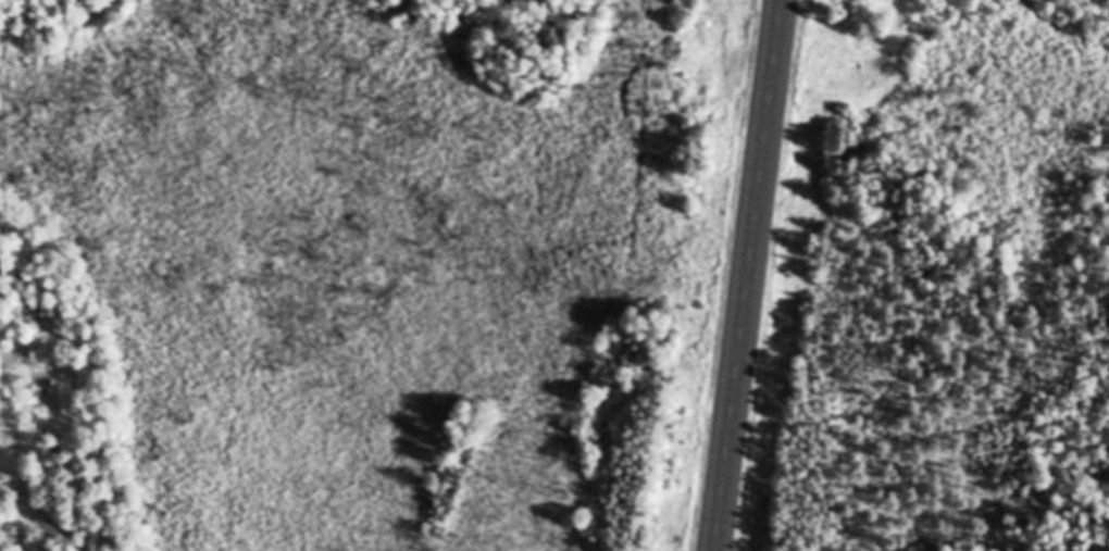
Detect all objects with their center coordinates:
road: (745, 275)

